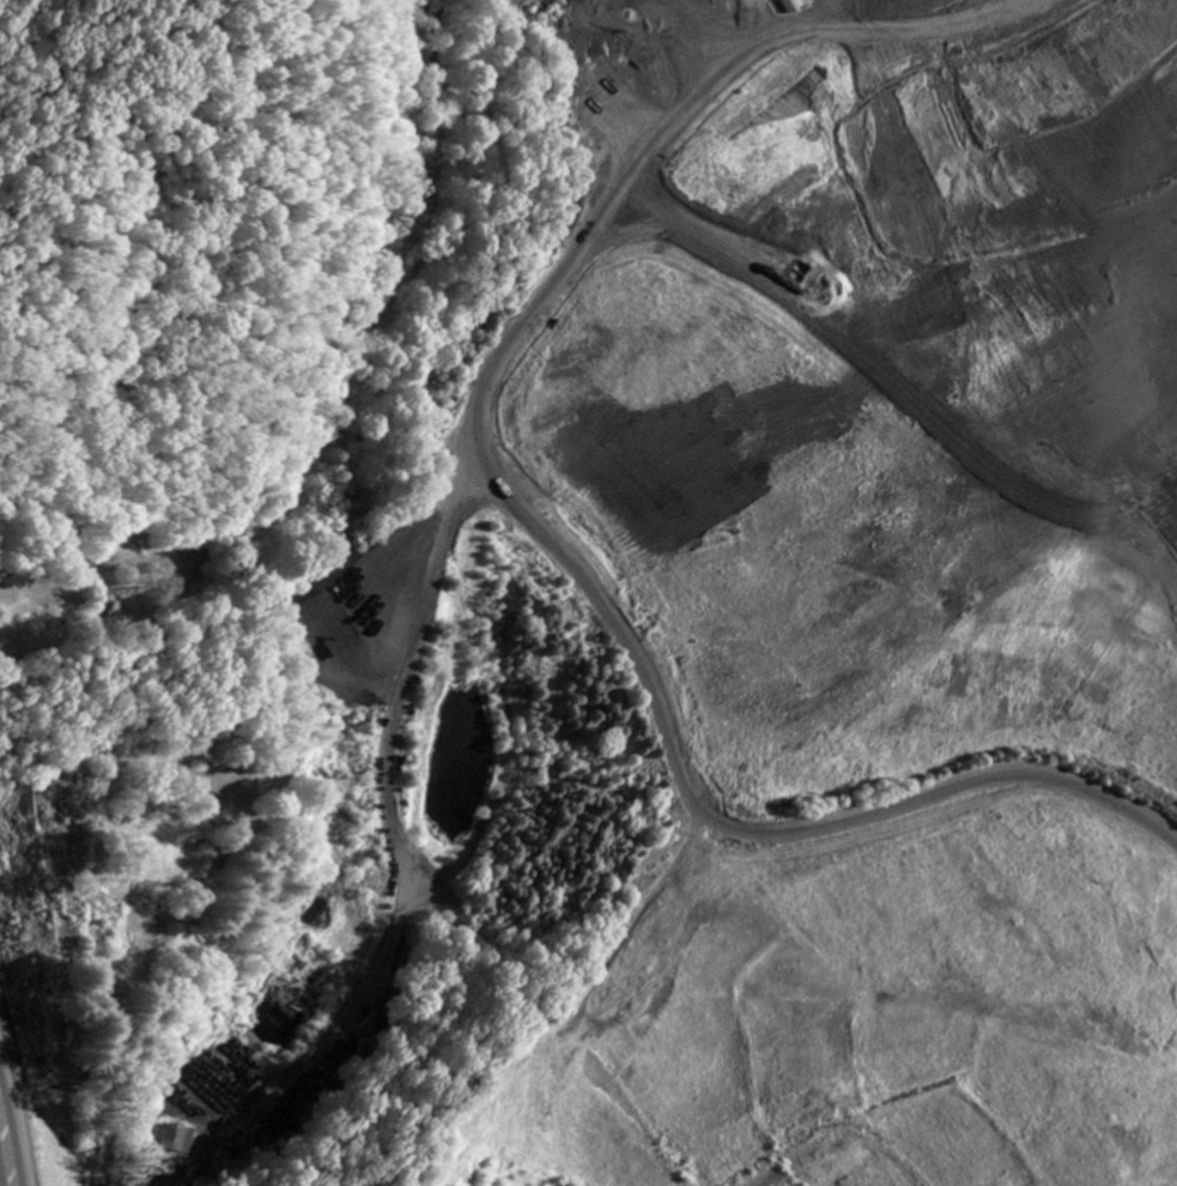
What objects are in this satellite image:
building: (785, 7)
road: (6, 11)
road: (878, 409)
road: (566, 594)
landfill: (807, 617)
road: (400, 859)
building: (180, 1139)
road: (4, 1161)

